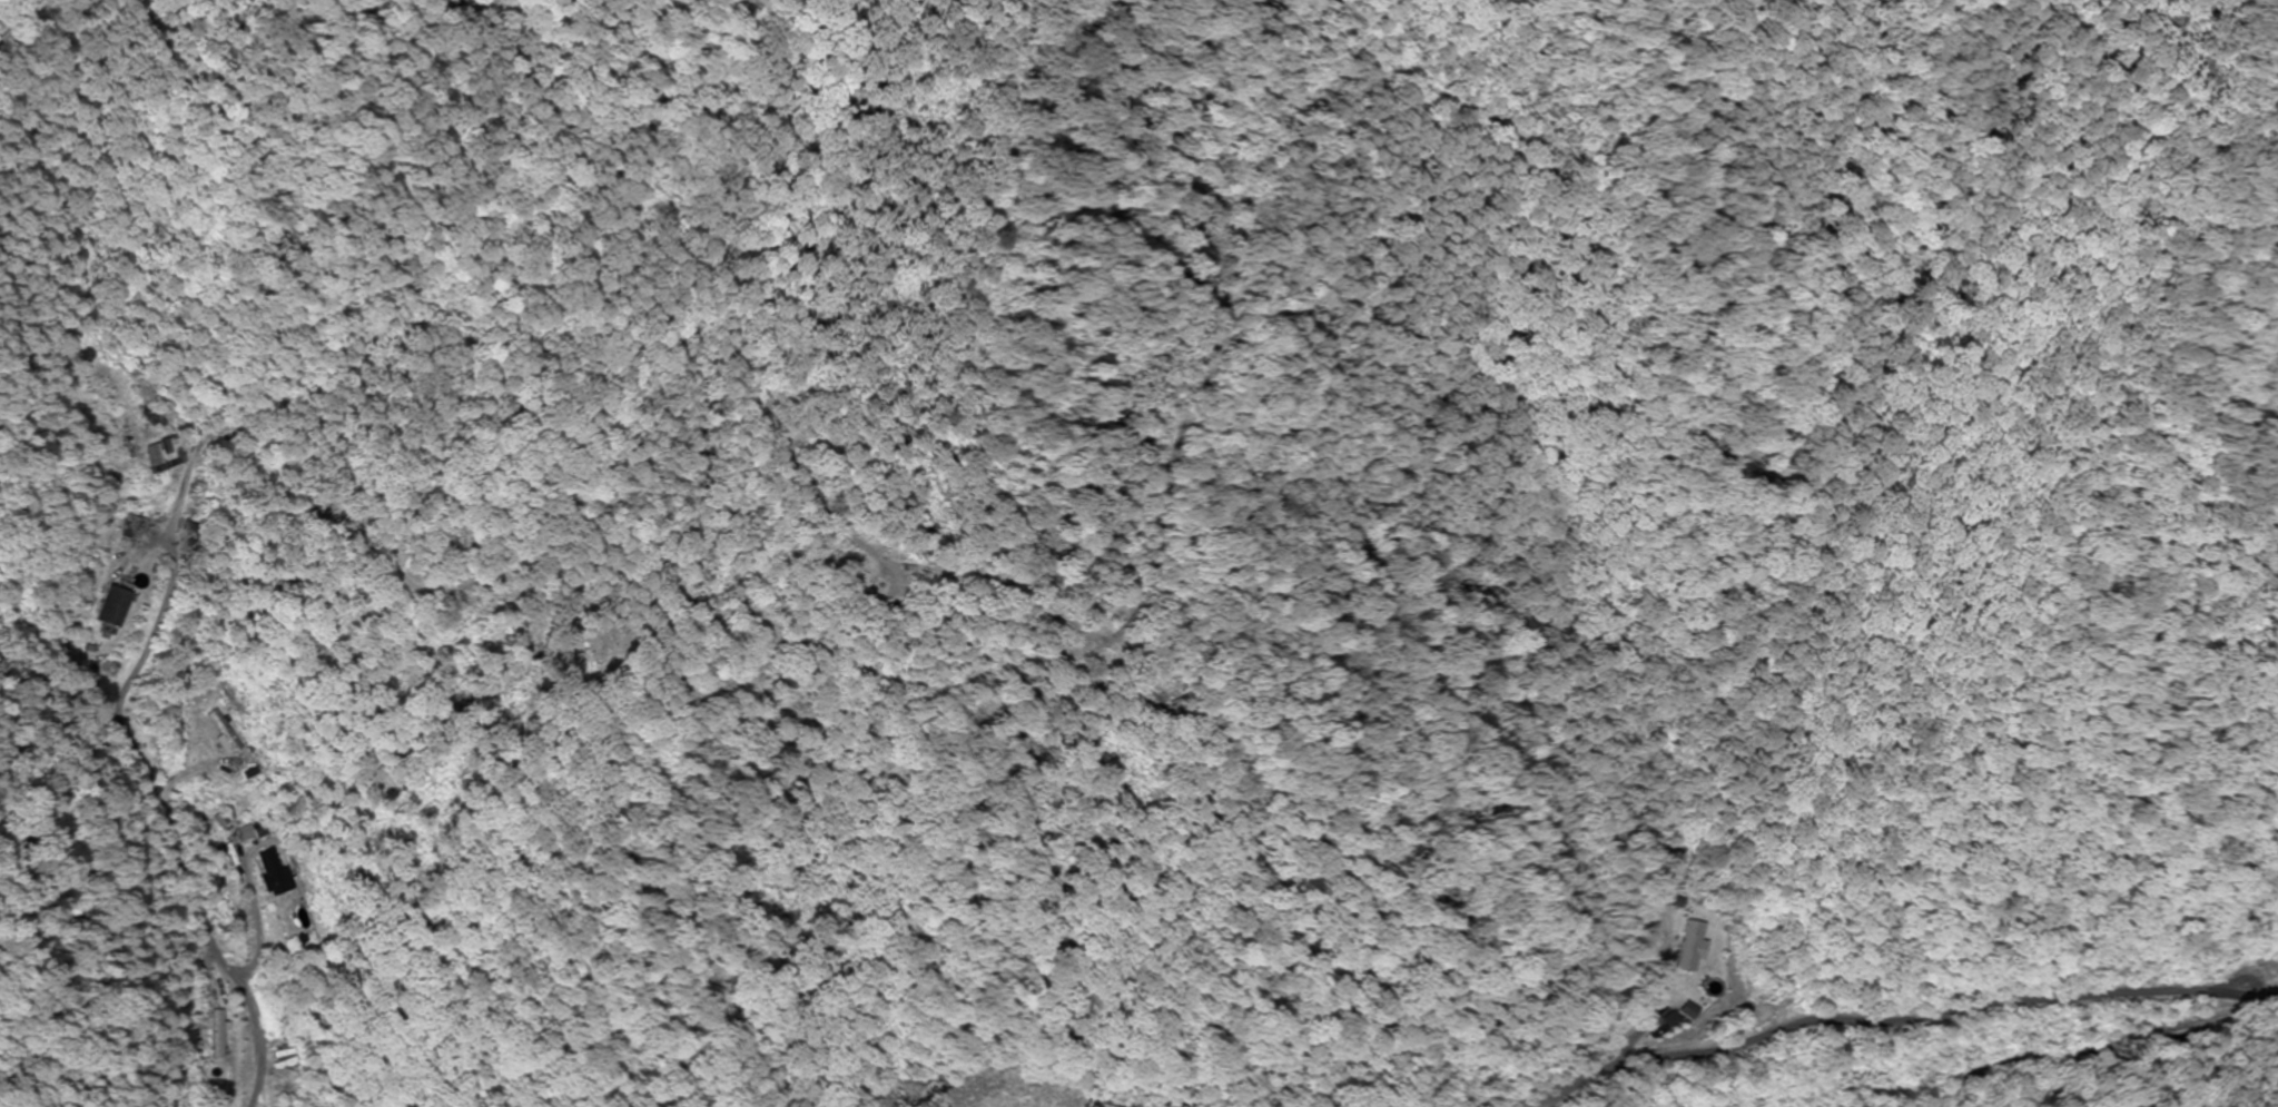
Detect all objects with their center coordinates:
road: (23, 34)
road: (2258, 96)
road: (1162, 582)
building: (102, 609)
building: (221, 733)
road: (158, 824)
building: (274, 873)
building: (1686, 948)
road: (2277, 999)
road: (1900, 1021)
building: (213, 1035)
road: (2099, 1055)

